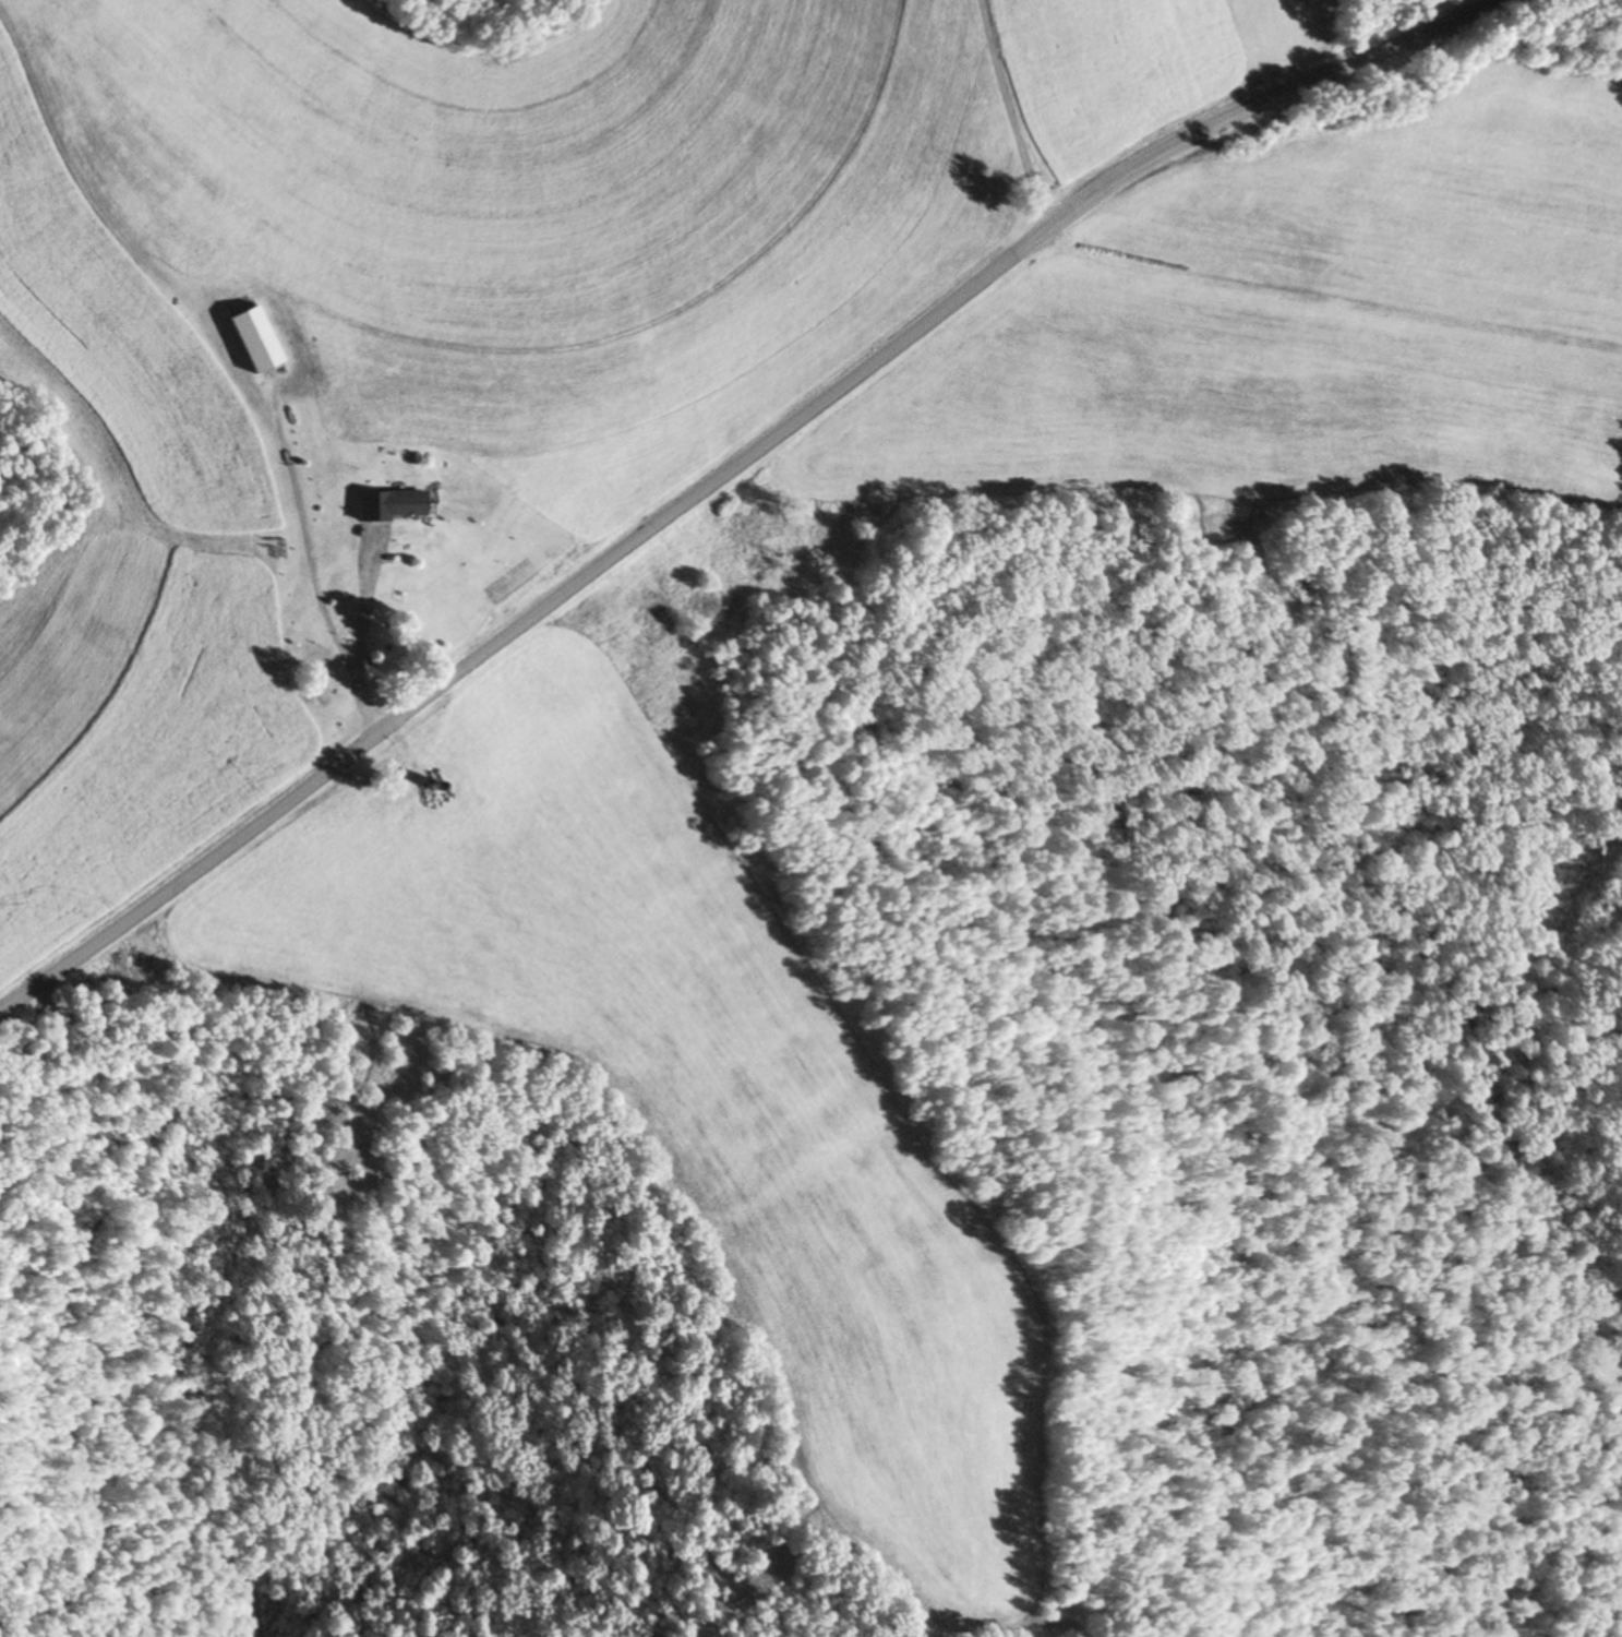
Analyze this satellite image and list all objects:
building: (249, 339)
road: (735, 471)
building: (384, 504)
road: (309, 569)

